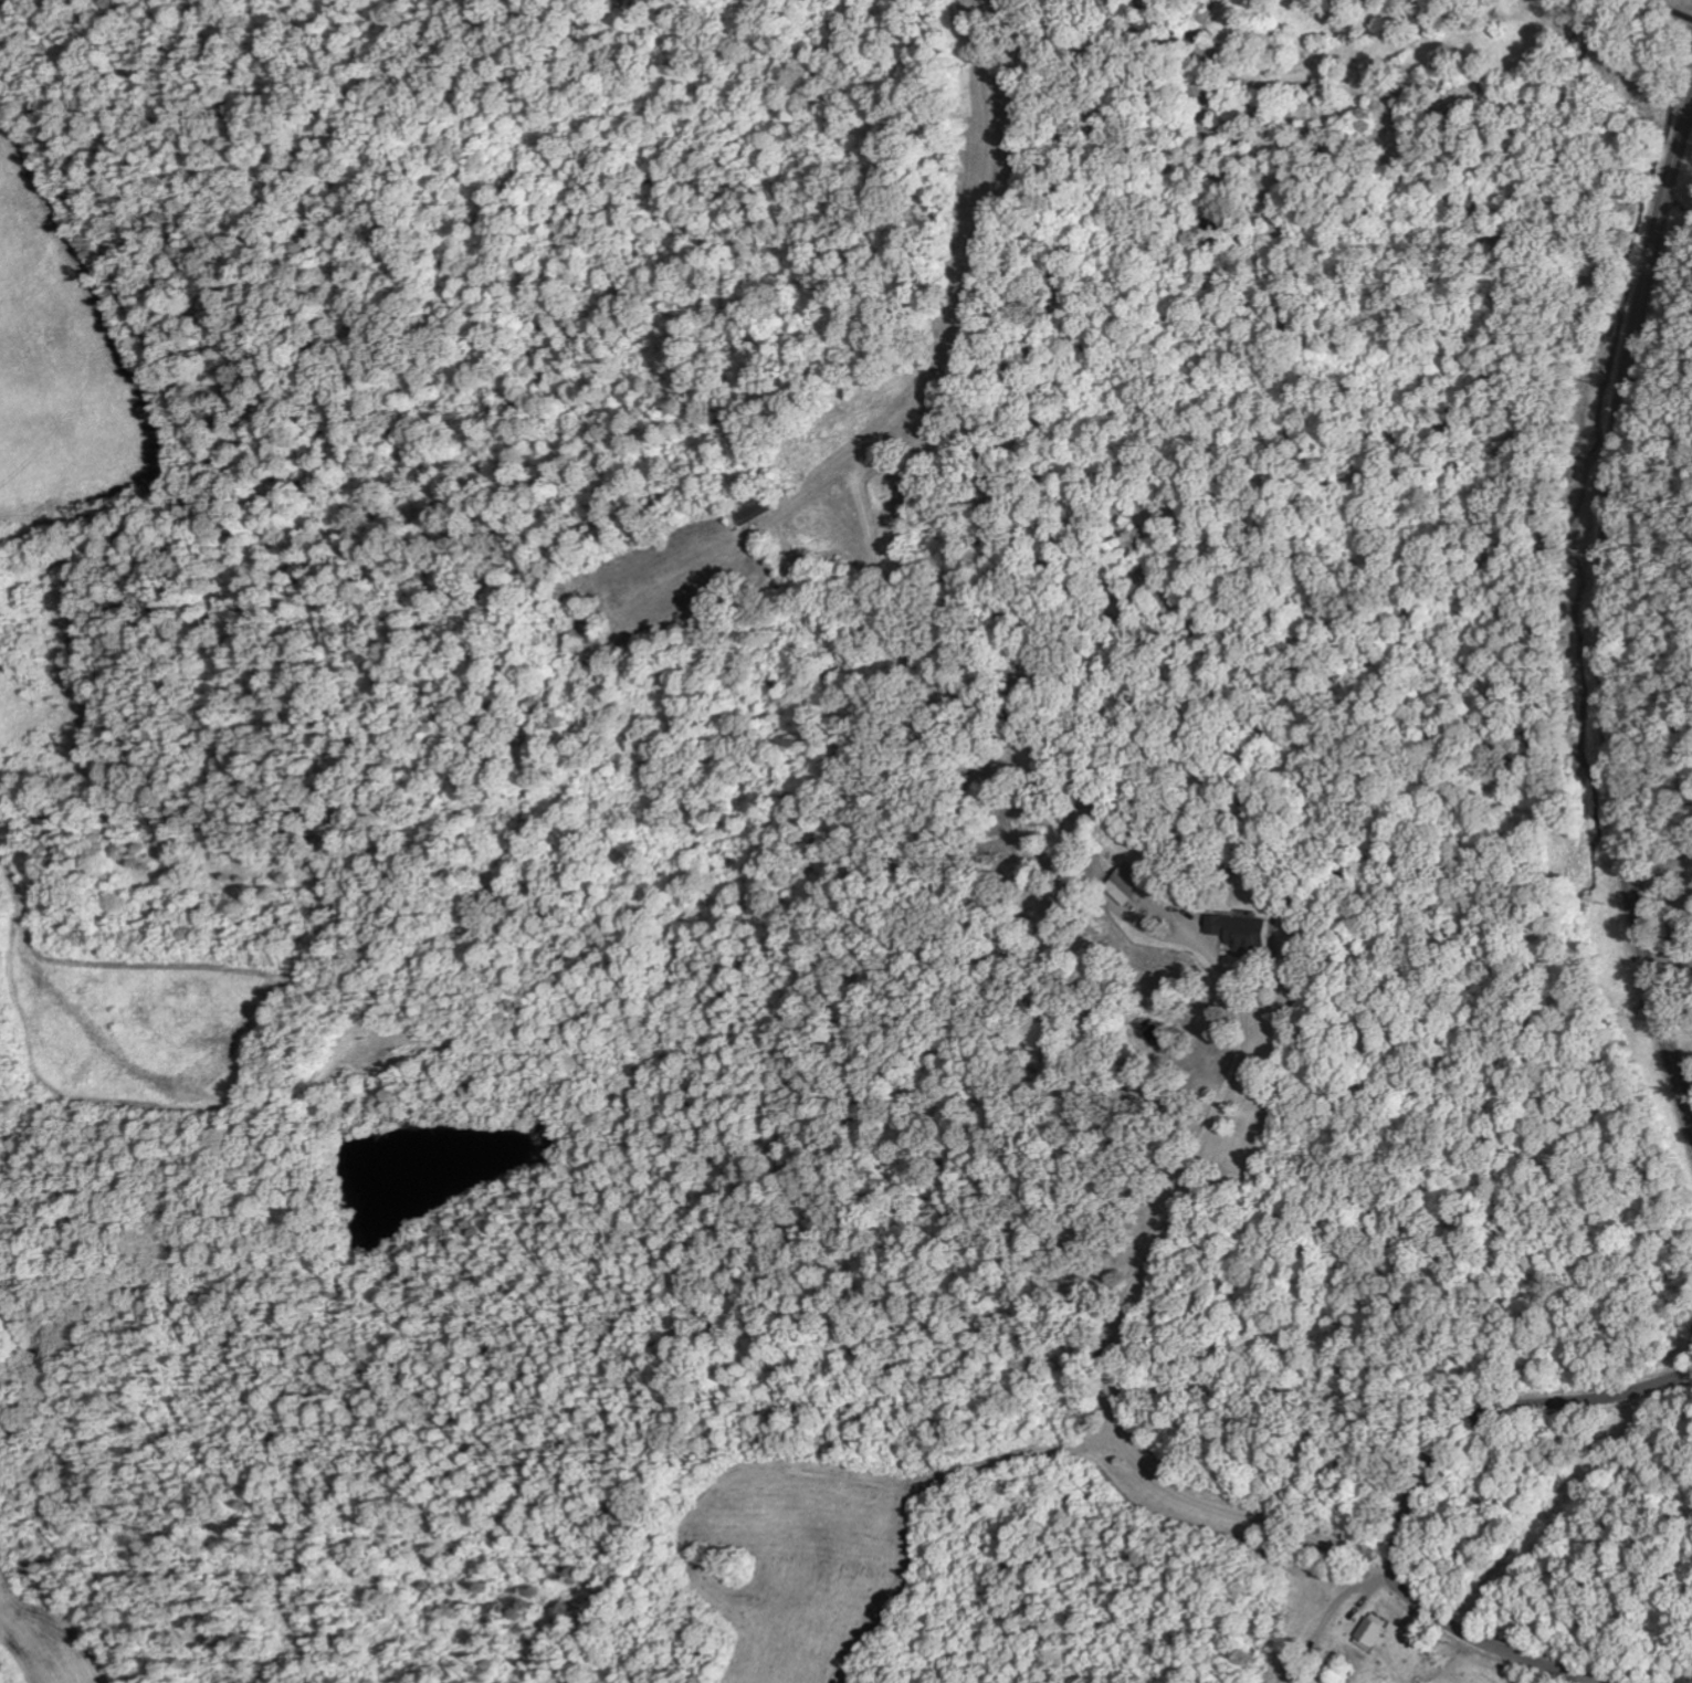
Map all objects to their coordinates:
building: (750, 506)
road: (1605, 619)
road: (1303, 782)
building: (1240, 930)
road: (1688, 1100)
road: (1417, 1490)

